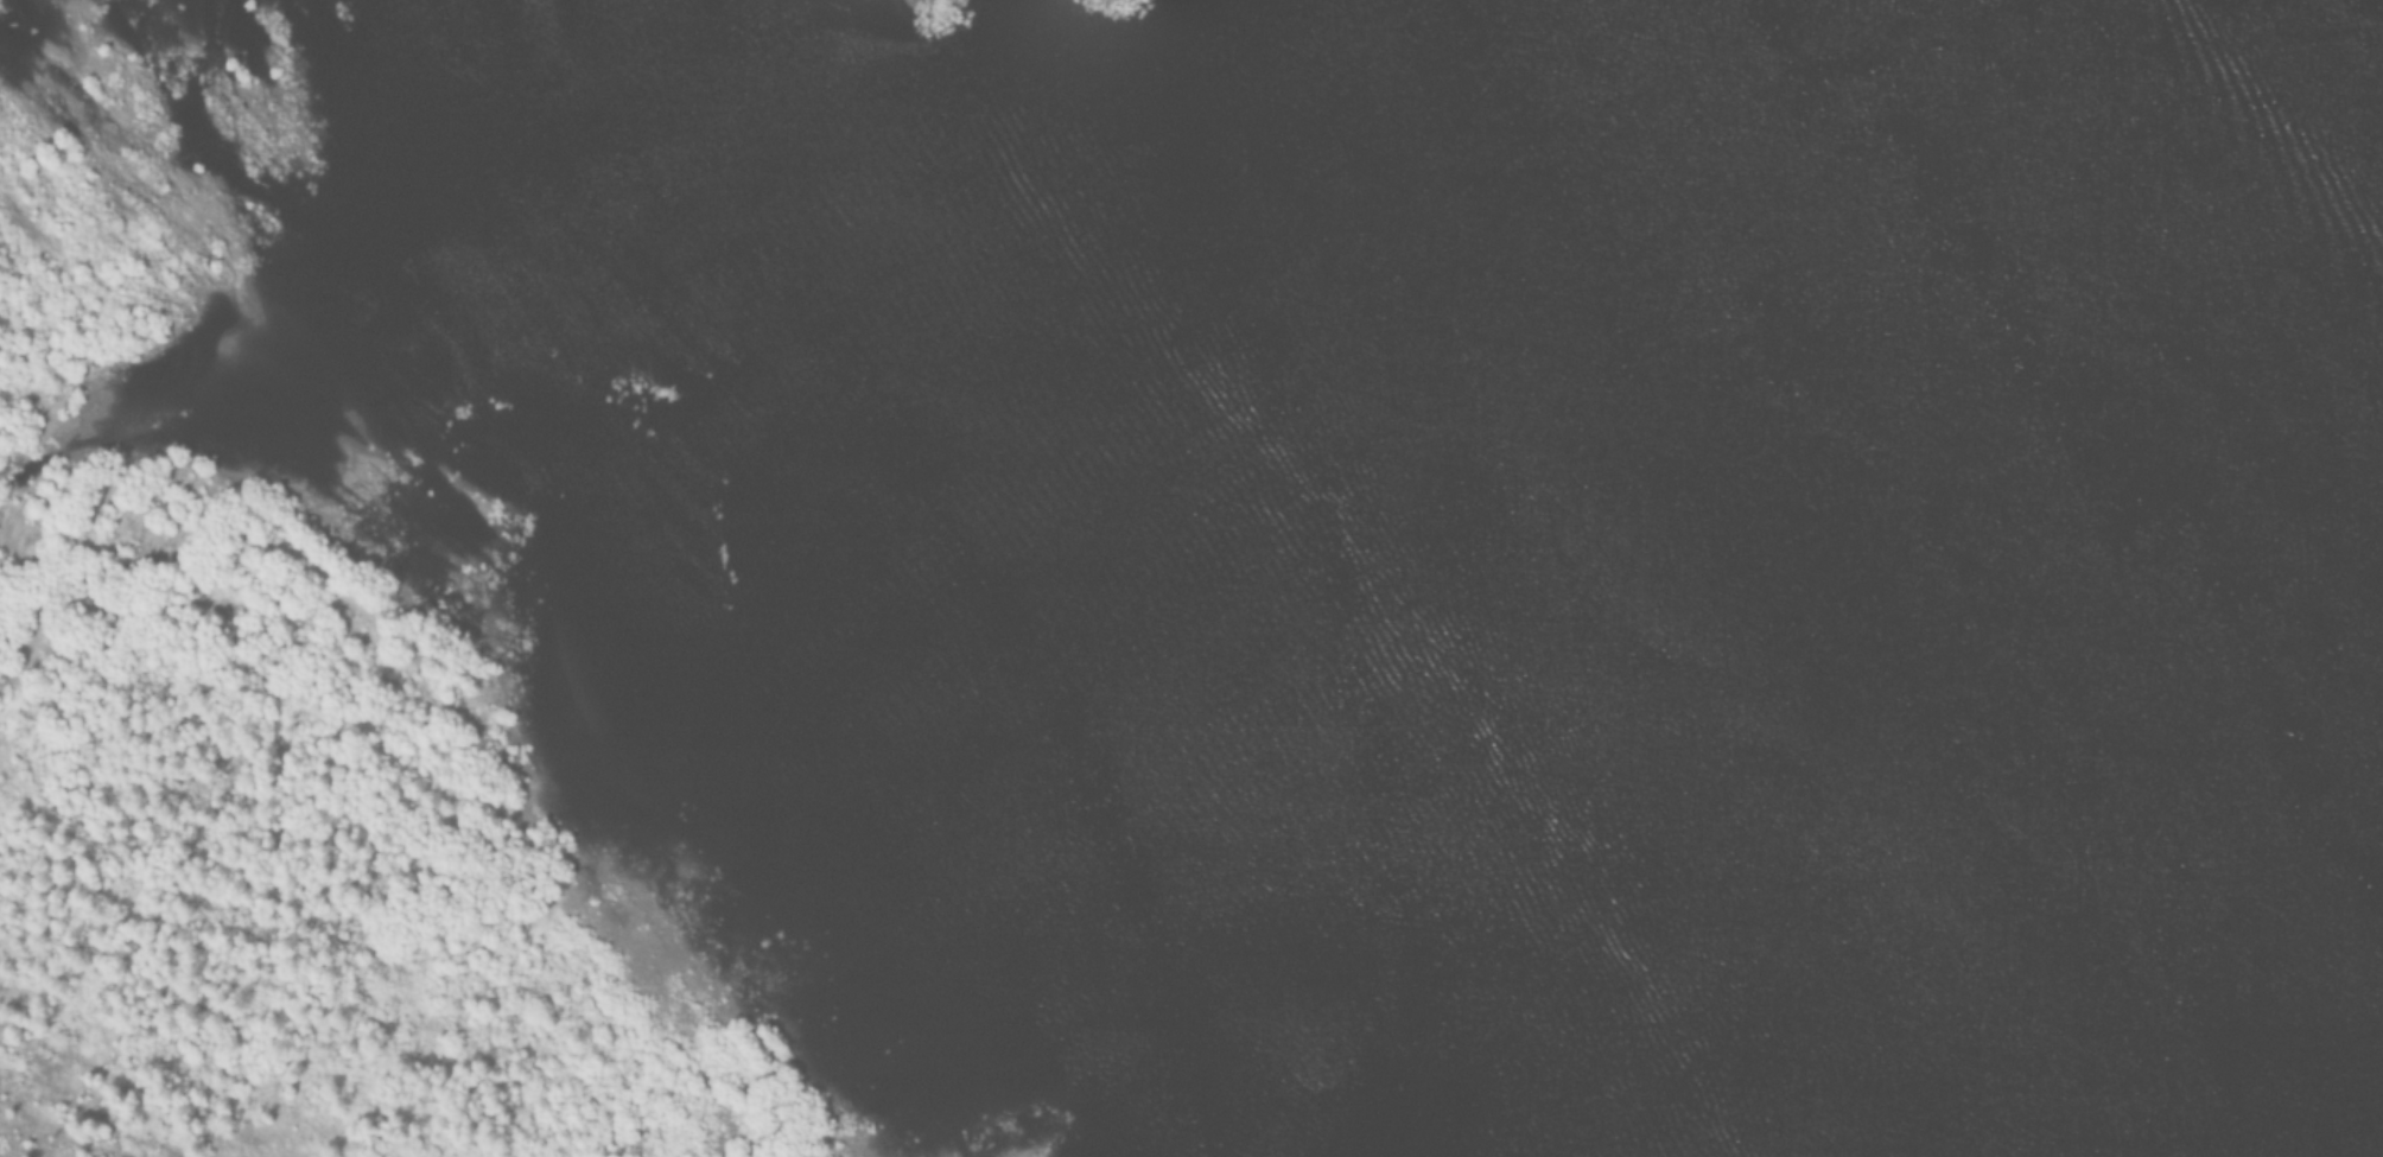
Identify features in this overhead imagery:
river: (2178, 313)

